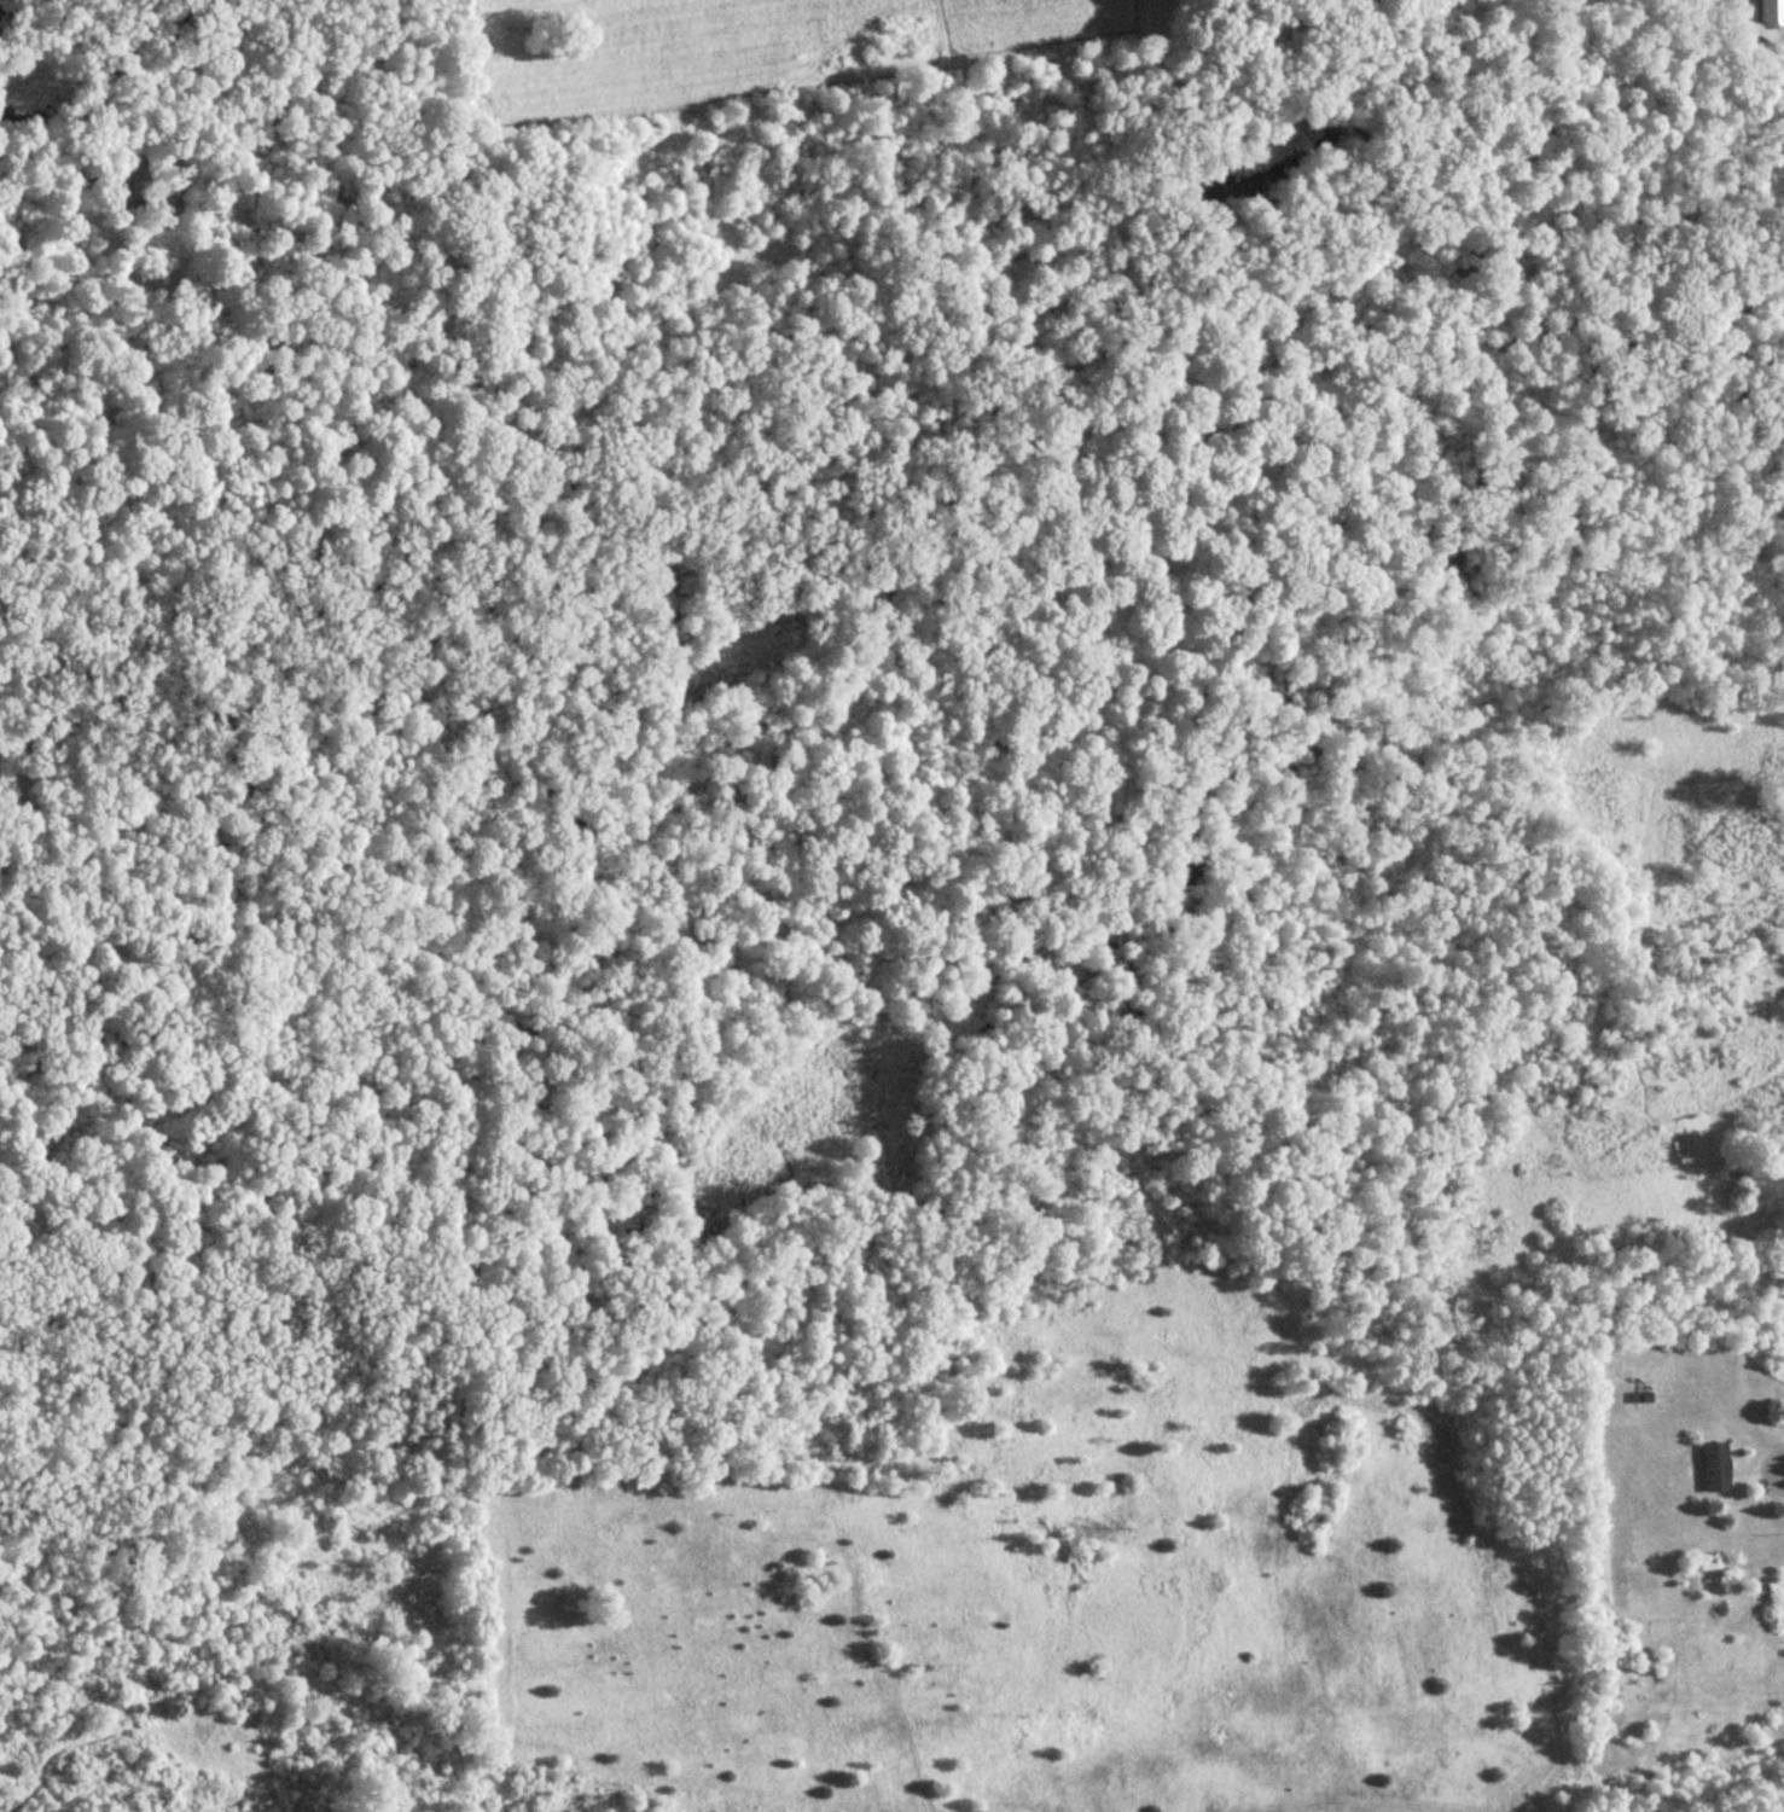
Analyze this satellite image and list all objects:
road: (1771, 1465)
building: (1716, 1468)

